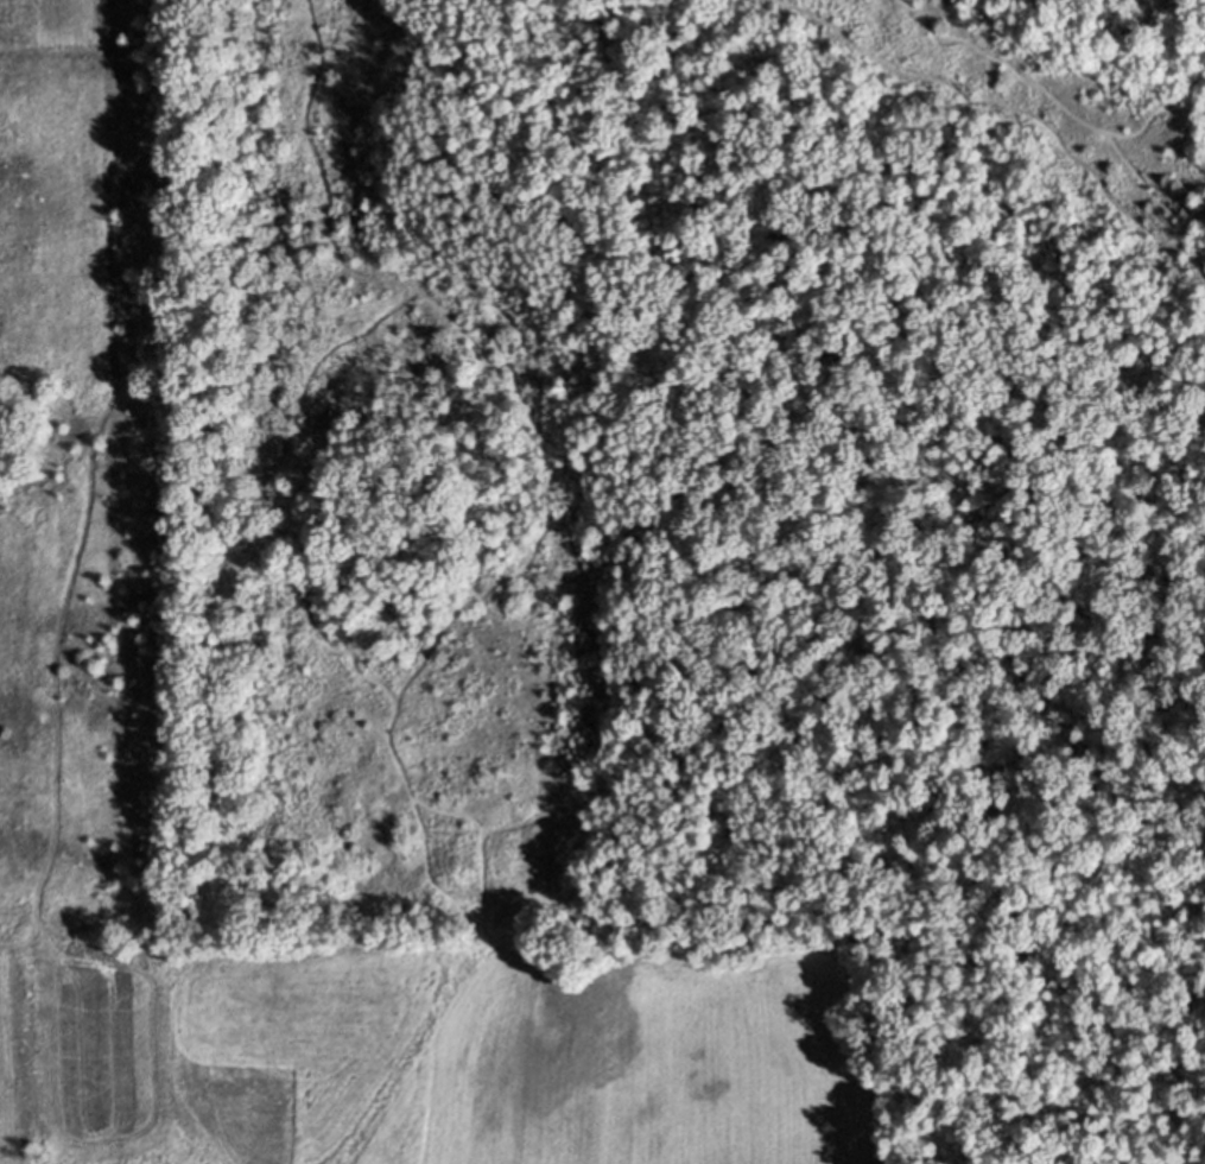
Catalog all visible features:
building: (465, 967)

